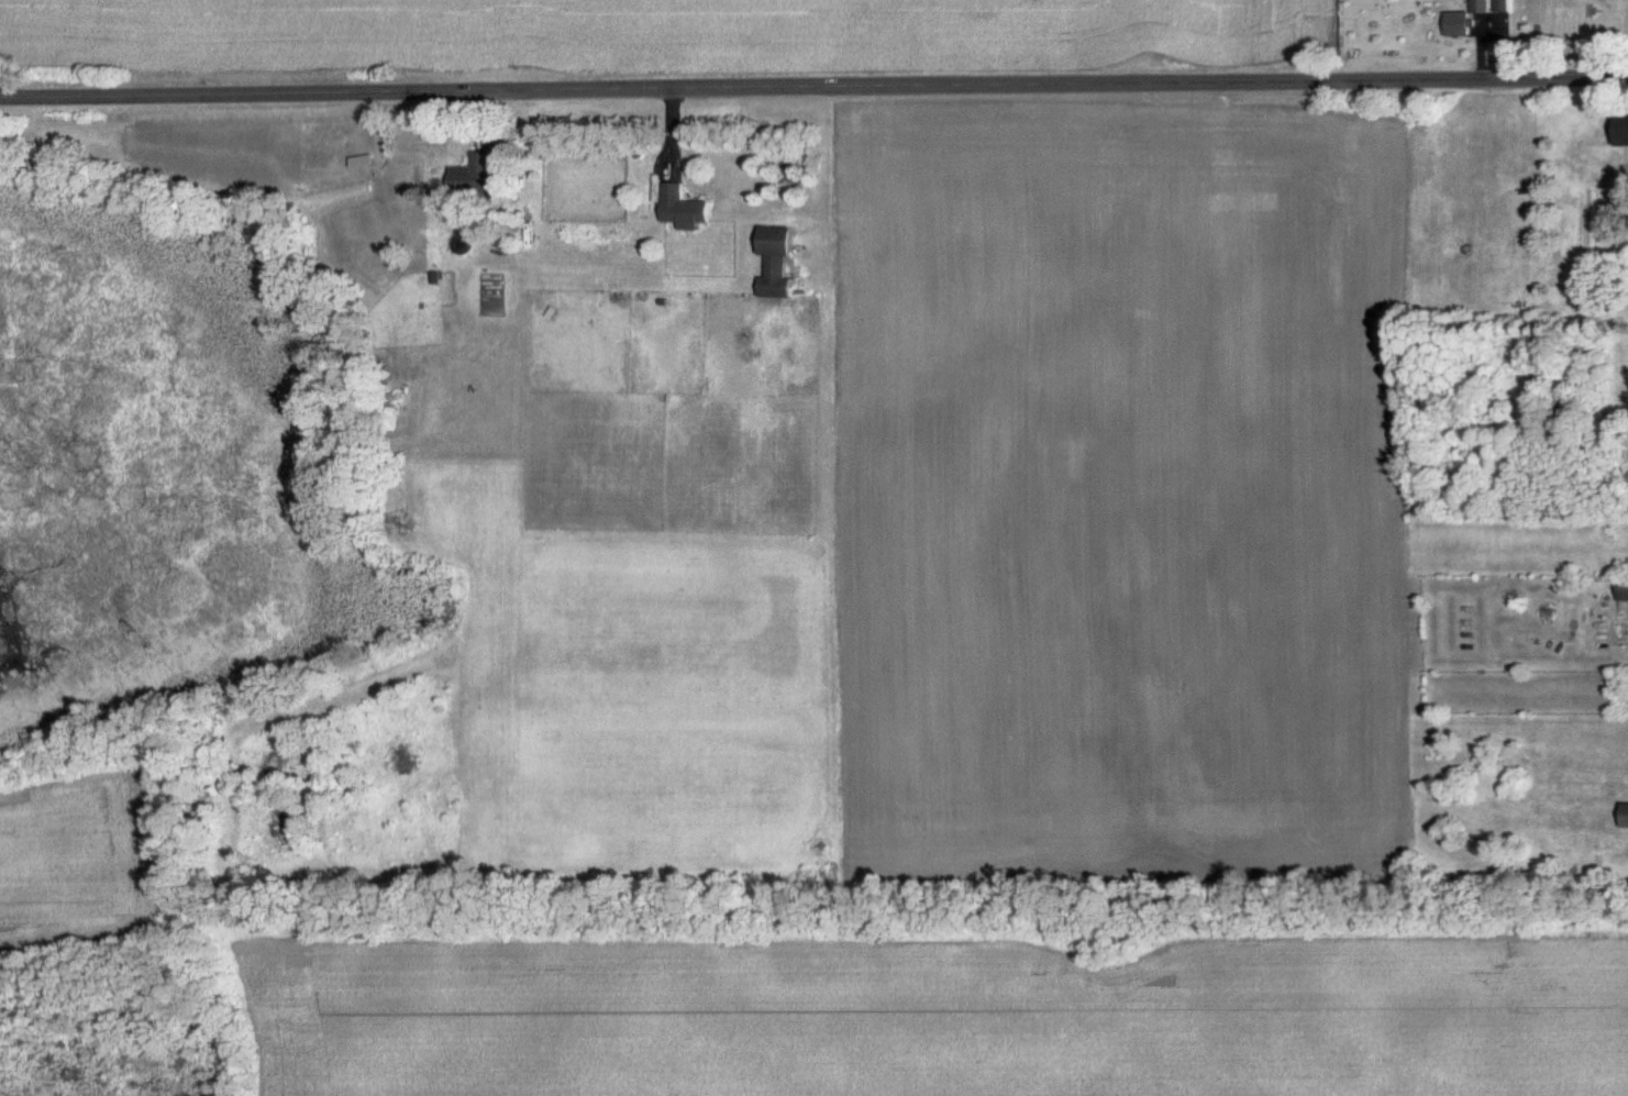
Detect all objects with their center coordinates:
building: (1458, 18)
building: (1519, 26)
road: (1616, 40)
road: (813, 88)
building: (1620, 126)
building: (468, 174)
building: (678, 203)
building: (772, 259)
building: (1621, 587)
building: (1623, 813)

